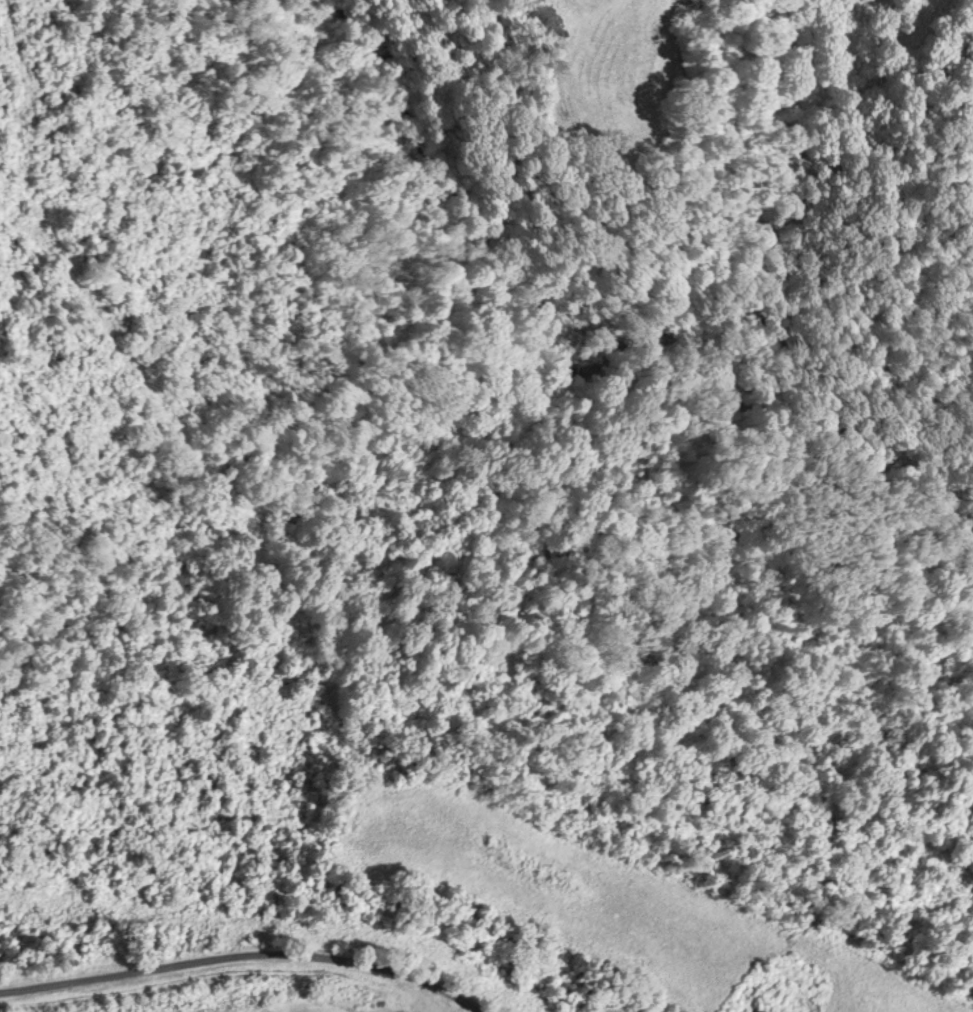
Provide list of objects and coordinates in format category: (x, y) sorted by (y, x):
road: (247, 954)

